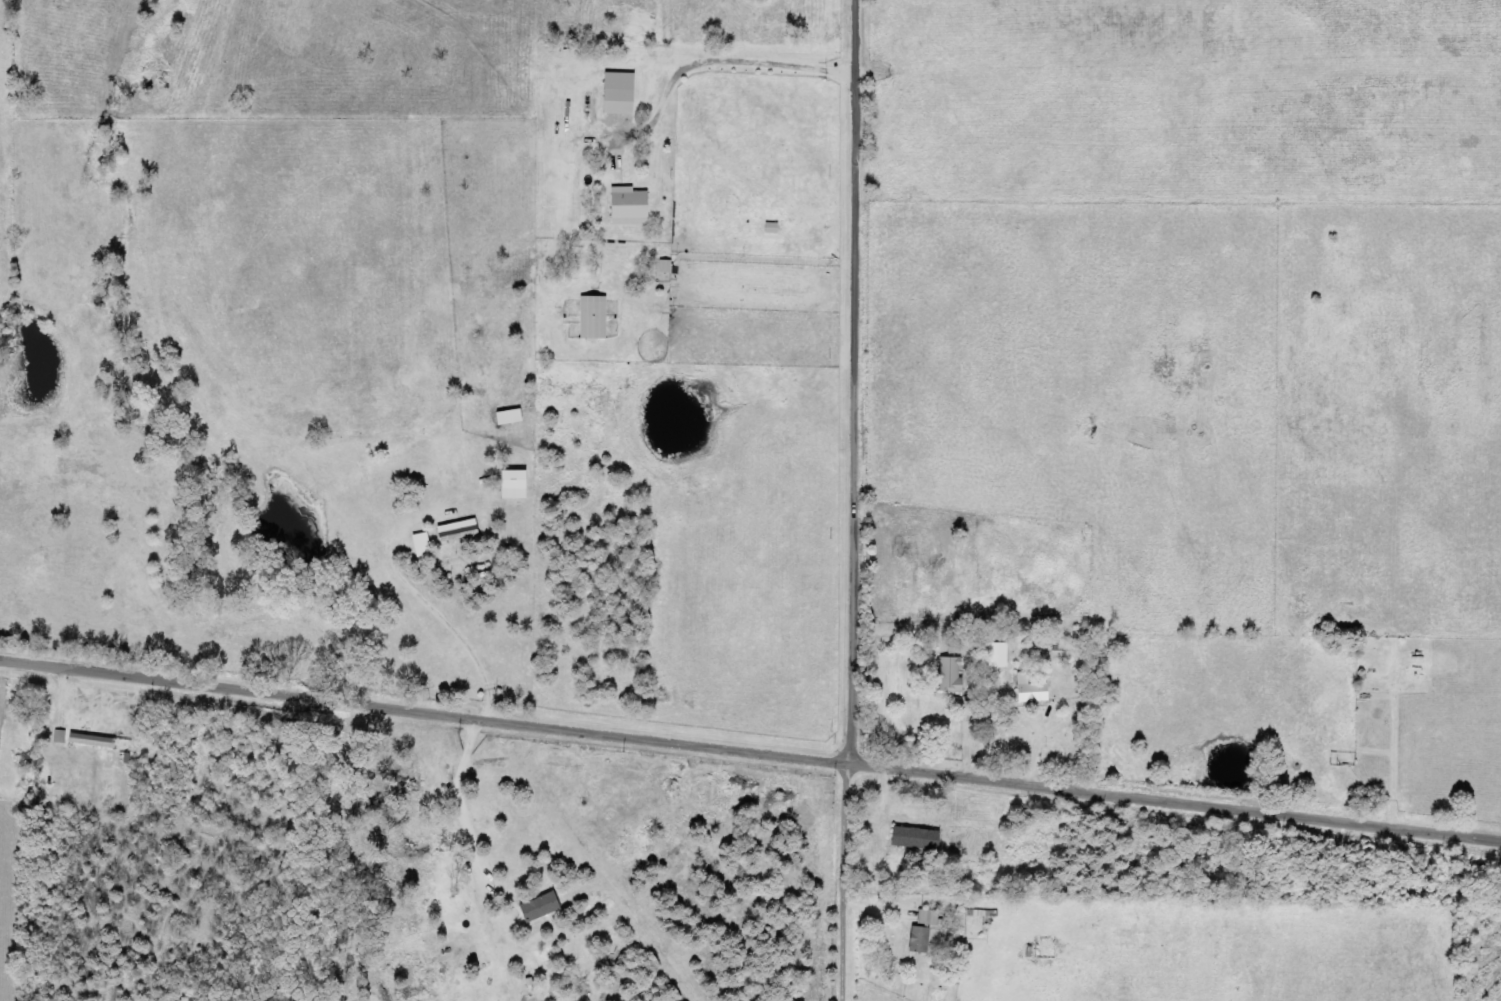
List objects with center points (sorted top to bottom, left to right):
building: (619, 93)
building: (630, 206)
building: (669, 266)
building: (595, 317)
road: (849, 384)
building: (517, 417)
building: (522, 484)
building: (464, 531)
building: (428, 544)
building: (1005, 657)
building: (956, 676)
building: (1038, 691)
building: (66, 737)
building: (99, 741)
road: (750, 757)
building: (924, 839)
road: (843, 885)
building: (547, 908)
building: (932, 932)

